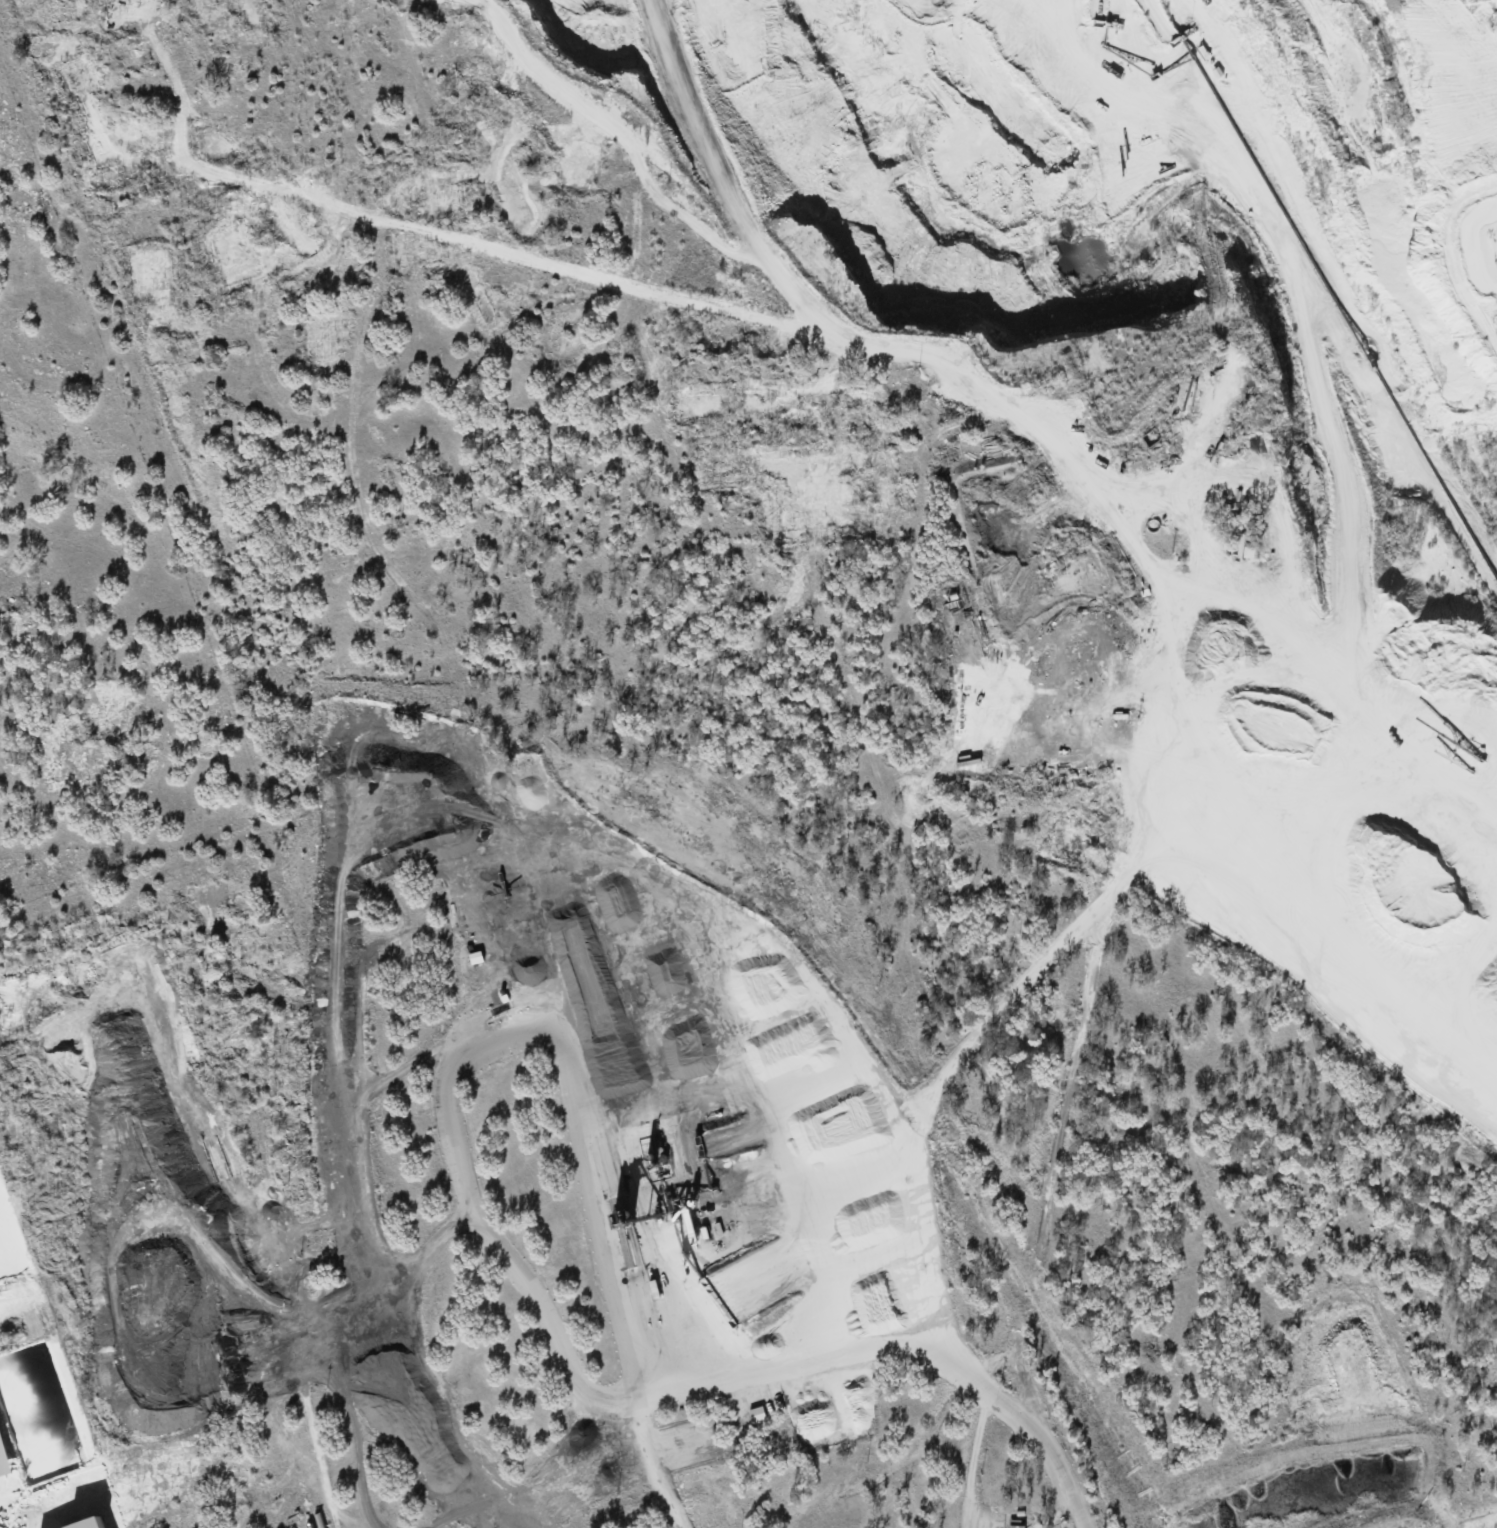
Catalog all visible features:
quarry: (1166, 407)
building: (475, 956)
road: (834, 1350)
quarry: (48, 1386)
building: (757, 1413)
building: (5, 1455)
building: (94, 1523)
building: (1016, 1523)

